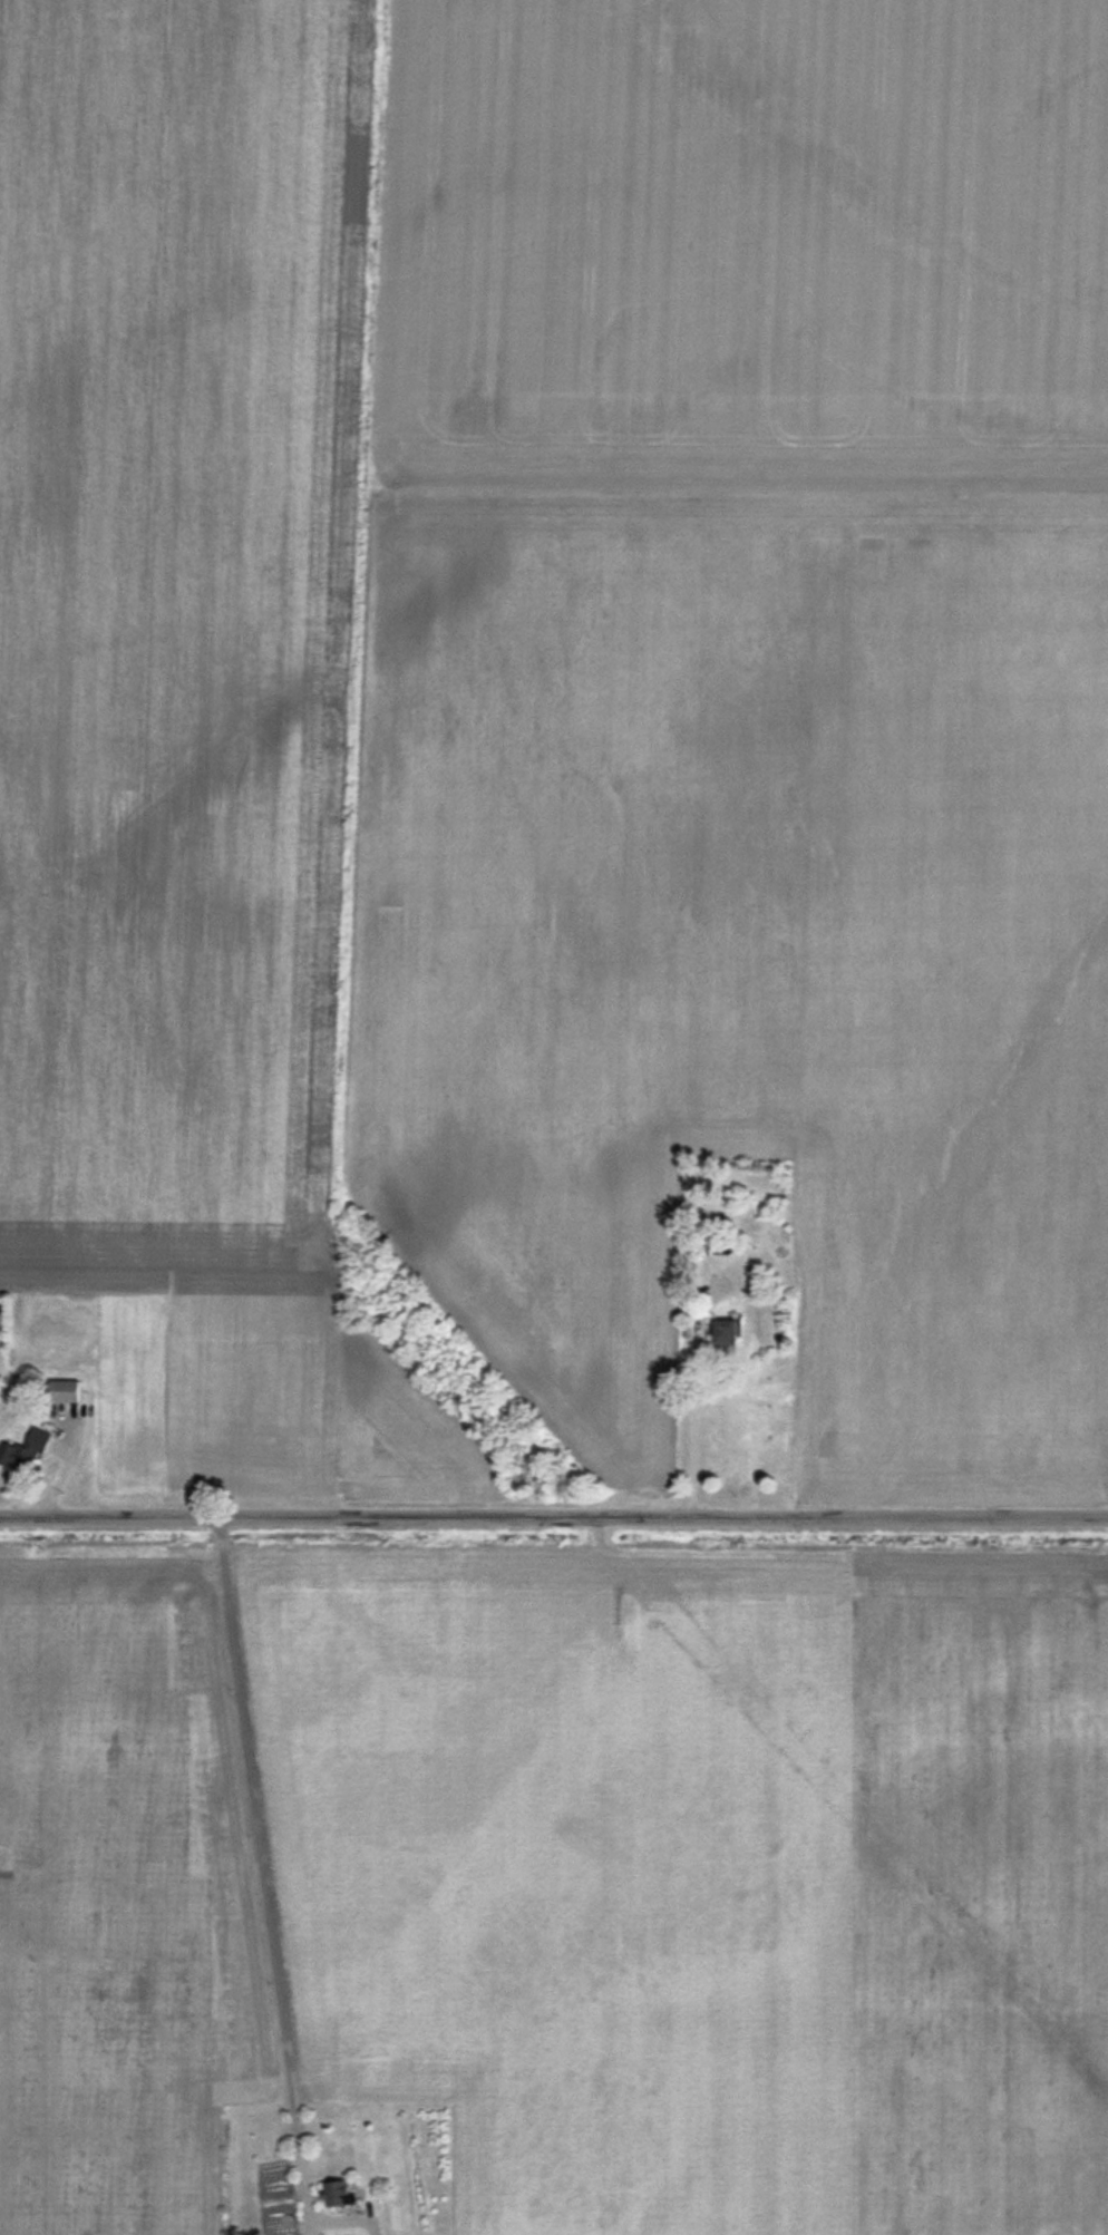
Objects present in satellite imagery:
building: (728, 1332)
building: (65, 1391)
road: (692, 1420)
building: (26, 1450)
road: (553, 1509)
road: (263, 1872)
building: (340, 2193)

